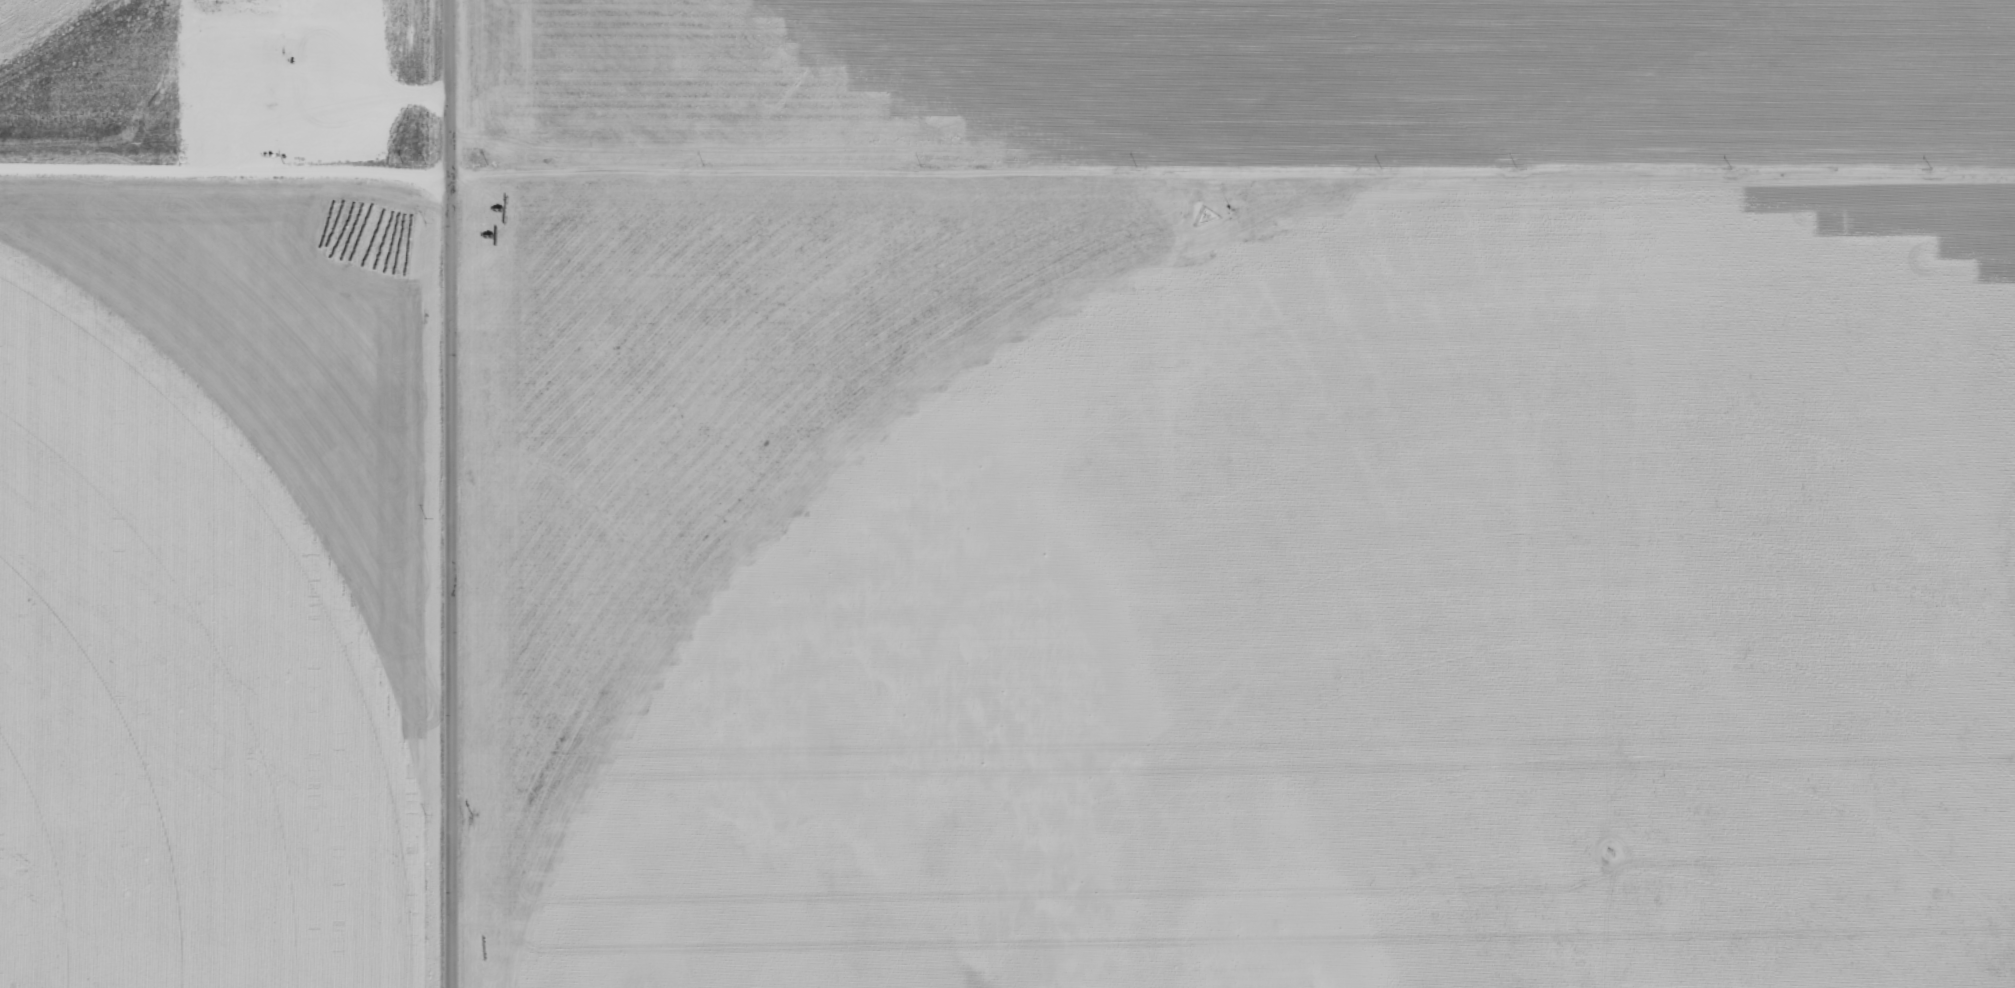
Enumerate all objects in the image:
road: (447, 494)

